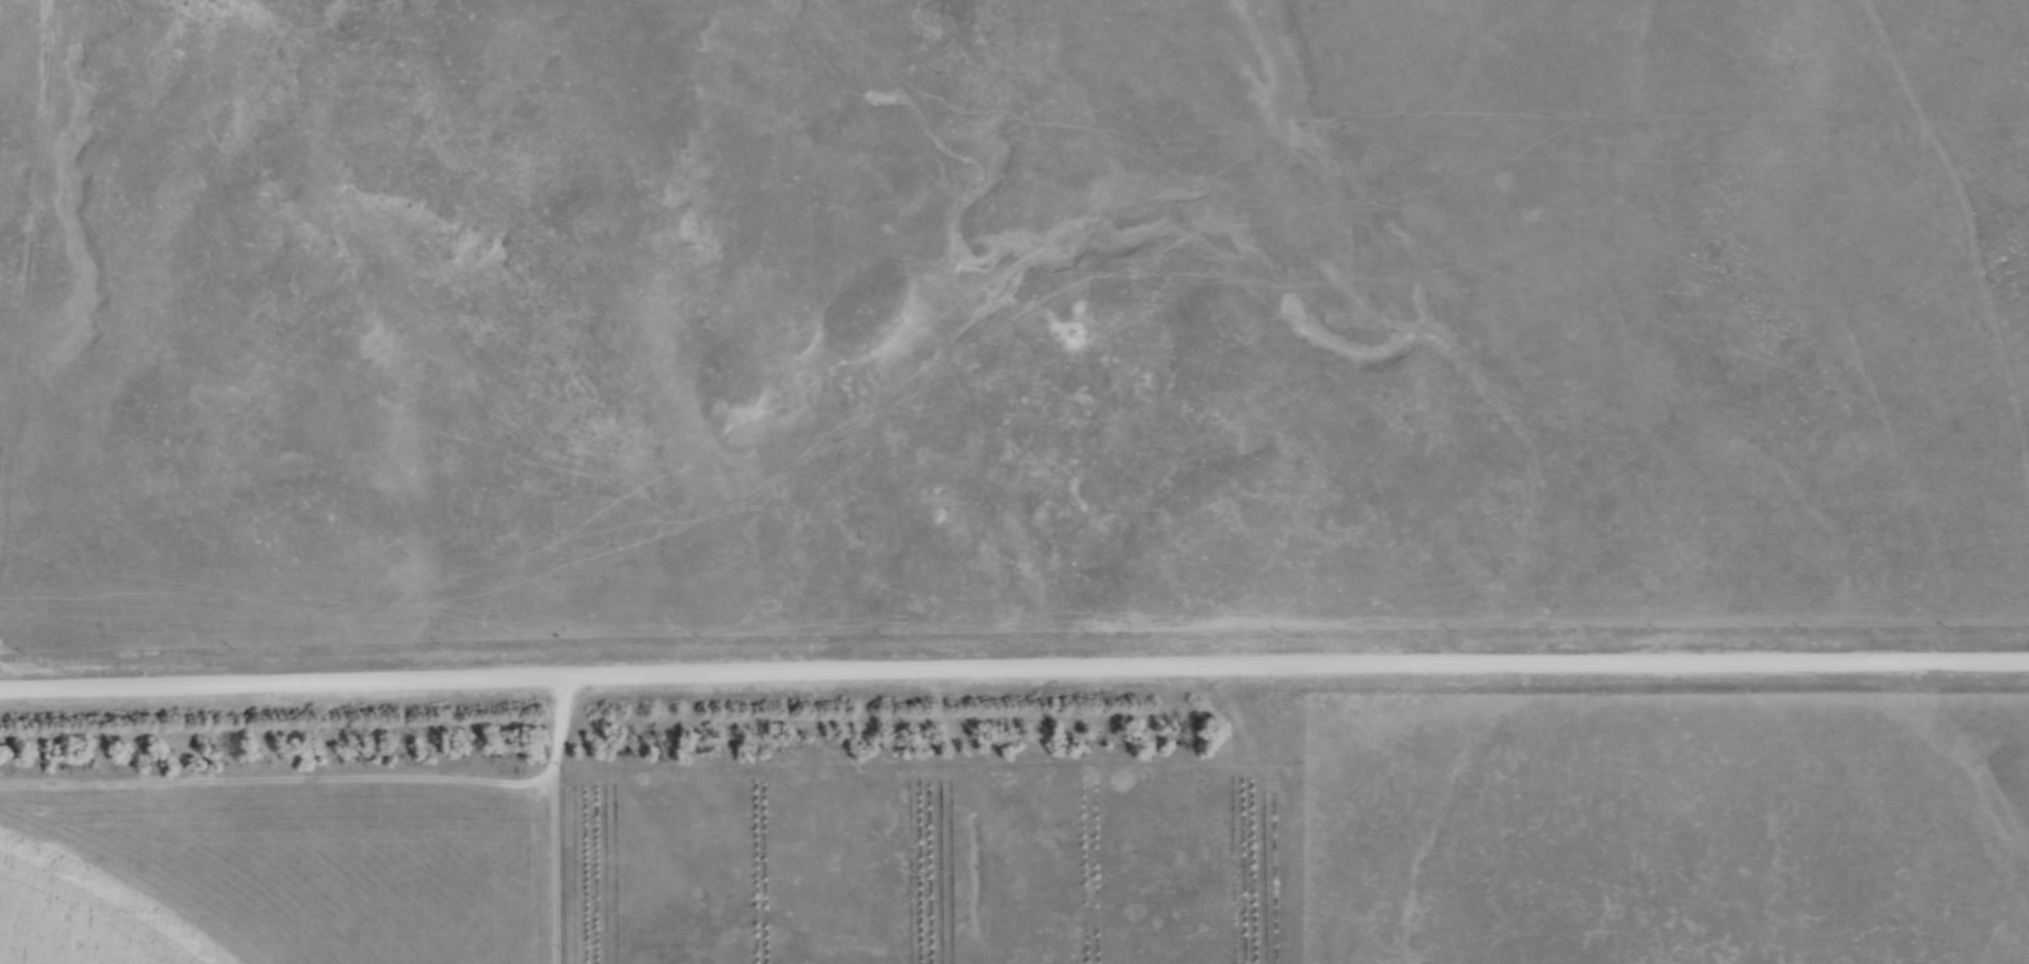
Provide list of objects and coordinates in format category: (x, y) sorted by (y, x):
road: (1014, 670)

